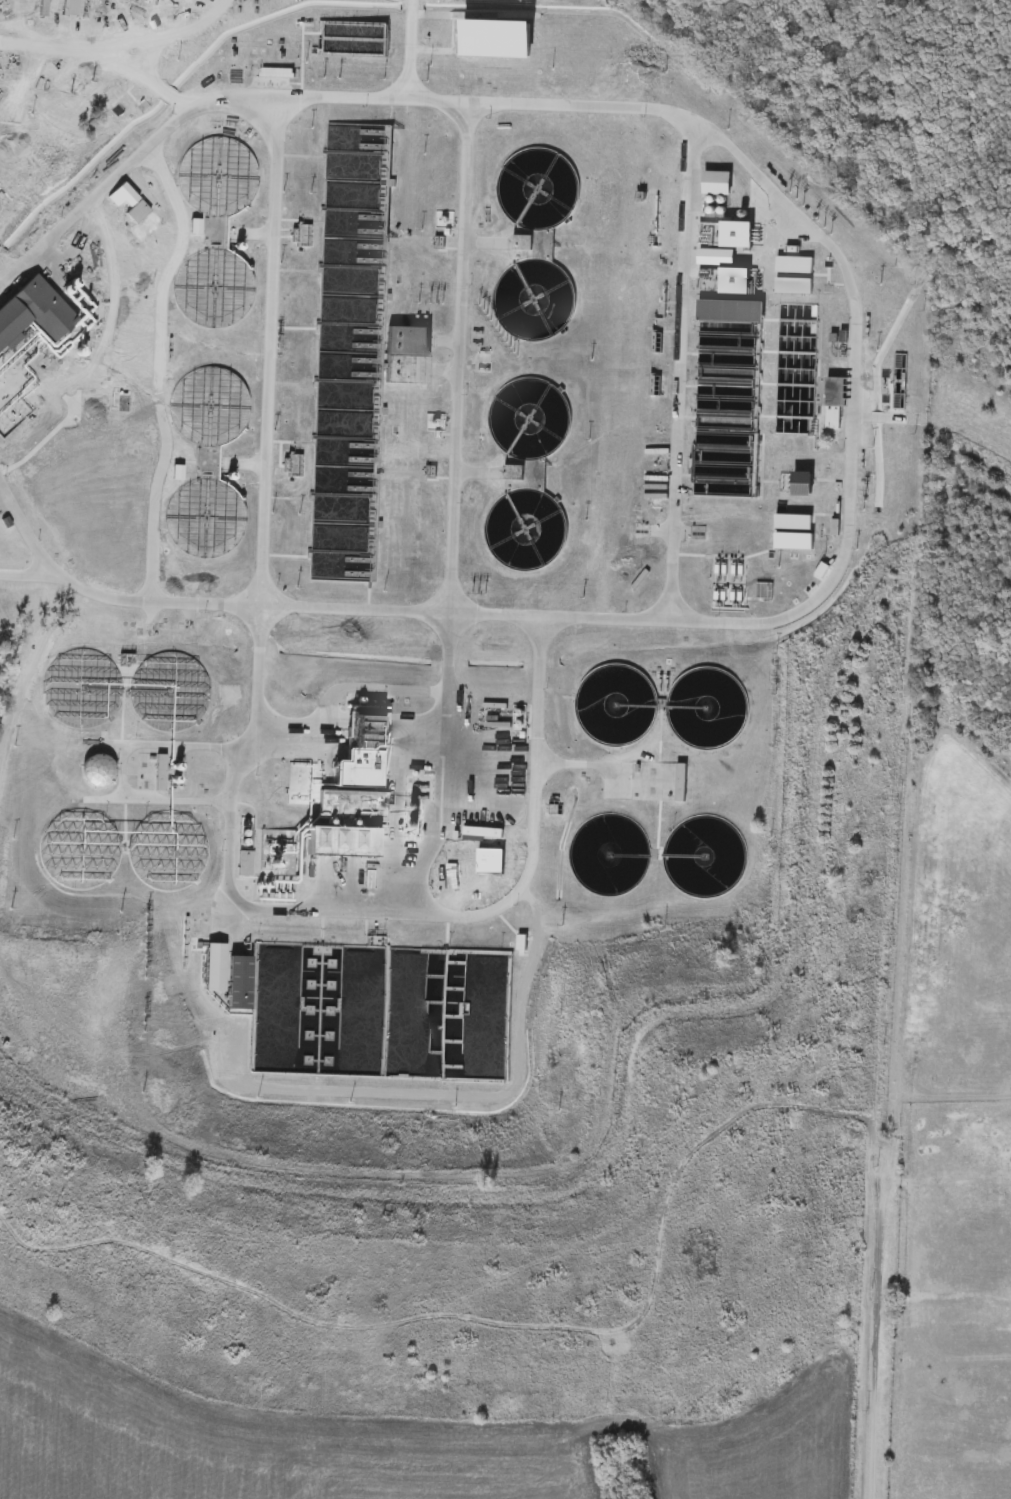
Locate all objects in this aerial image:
road: (198, 4)
building: (353, 39)
road: (408, 48)
building: (353, 242)
building: (536, 247)
building: (35, 315)
building: (82, 346)
road: (849, 357)
building: (410, 358)
road: (677, 364)
building: (837, 394)
building: (207, 461)
building: (805, 486)
road: (25, 533)
road: (30, 667)
road: (345, 751)
road: (578, 762)
building: (98, 772)
building: (162, 774)
building: (681, 784)
building: (158, 818)
building: (245, 865)
road: (507, 896)
road: (239, 898)
building: (237, 984)
road: (457, 1084)
road: (868, 1364)

